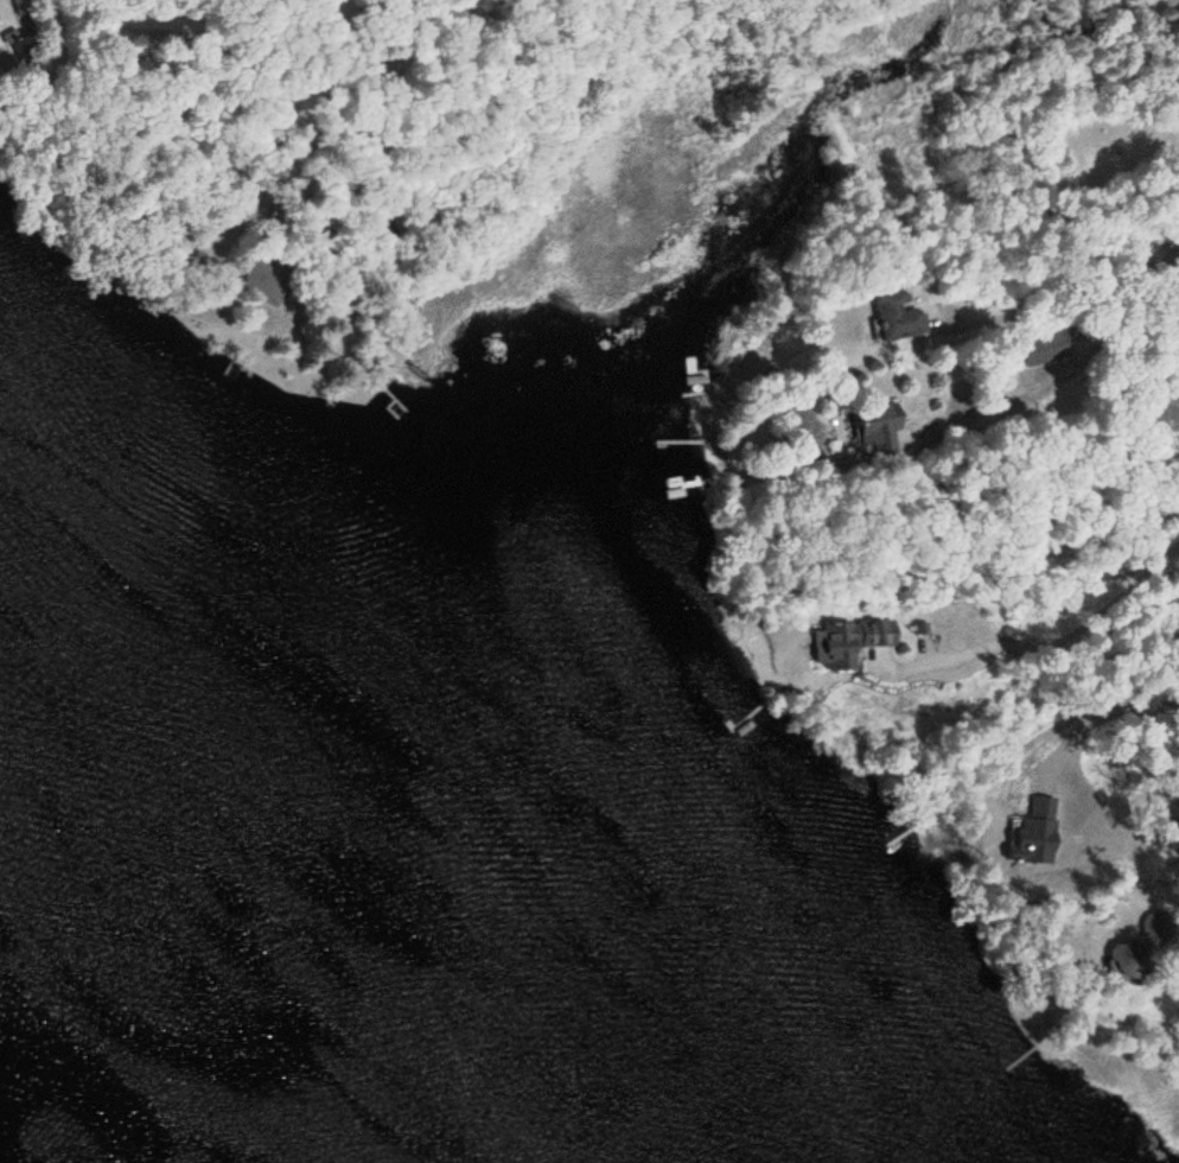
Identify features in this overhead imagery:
building: (26, 6)
building: (25, 49)
road: (88, 160)
building: (1171, 234)
building: (265, 281)
building: (897, 316)
building: (1045, 348)
building: (887, 422)
building: (847, 643)
river: (56, 1130)

